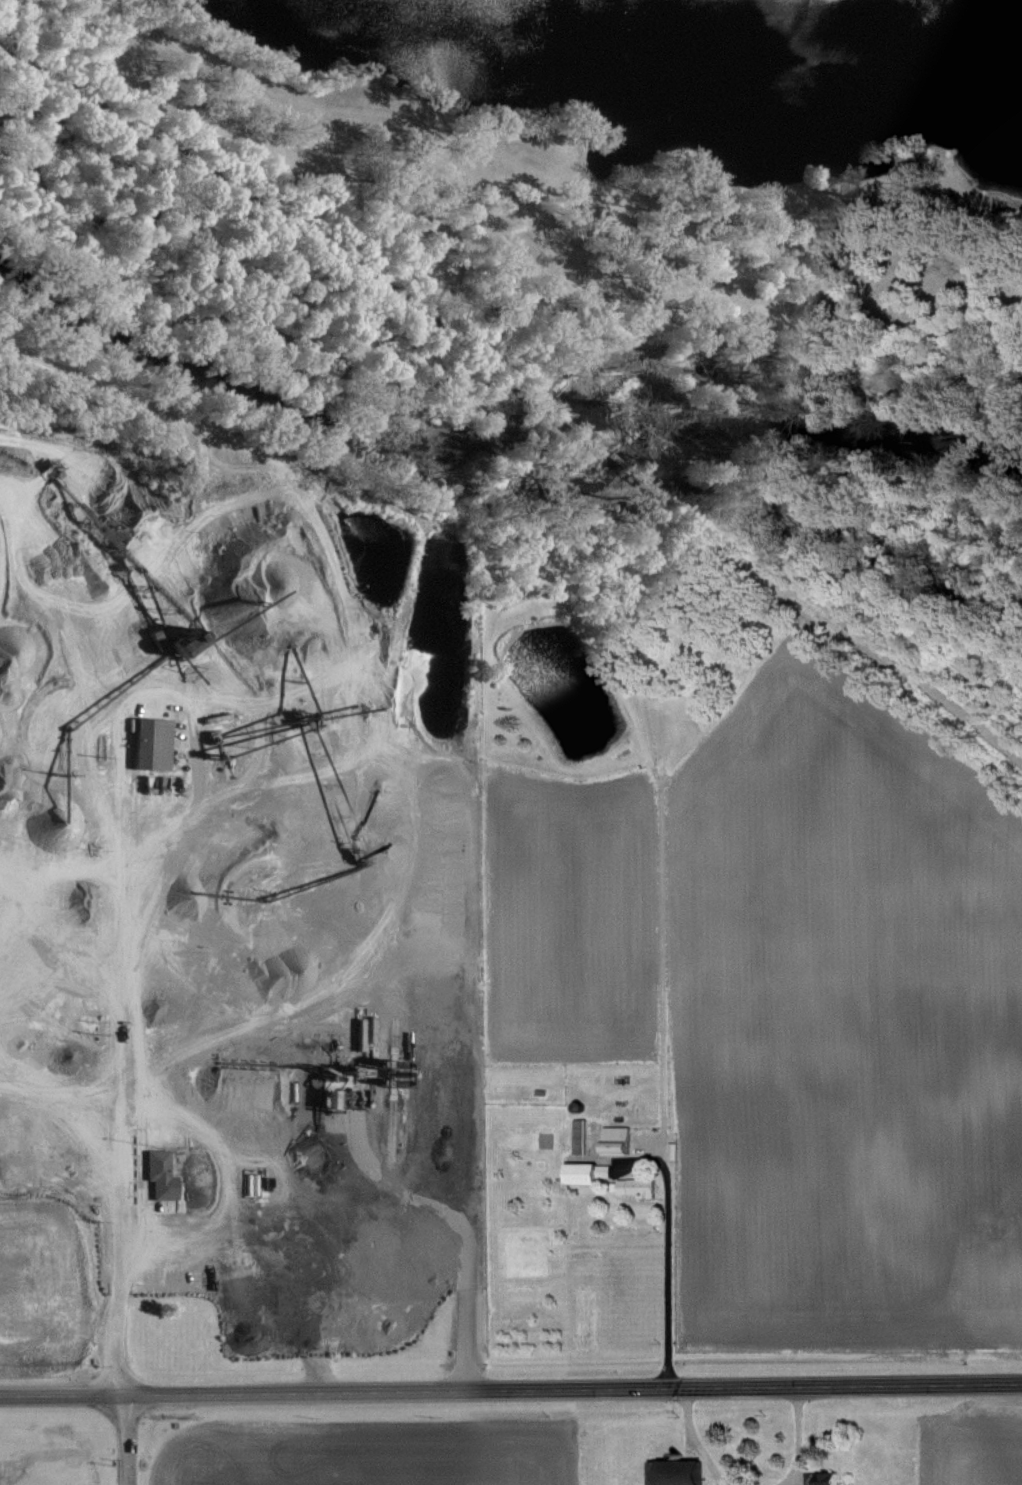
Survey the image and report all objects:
road: (161, 8)
road: (351, 106)
road: (56, 656)
building: (146, 742)
road: (660, 962)
building: (576, 1135)
building: (612, 1140)
road: (113, 1150)
building: (600, 1170)
building: (156, 1173)
building: (576, 1173)
road: (374, 1175)
building: (630, 1187)
road: (663, 1224)
road: (511, 1391)
road: (796, 1437)
road: (693, 1441)
building: (674, 1473)
building: (822, 1478)

